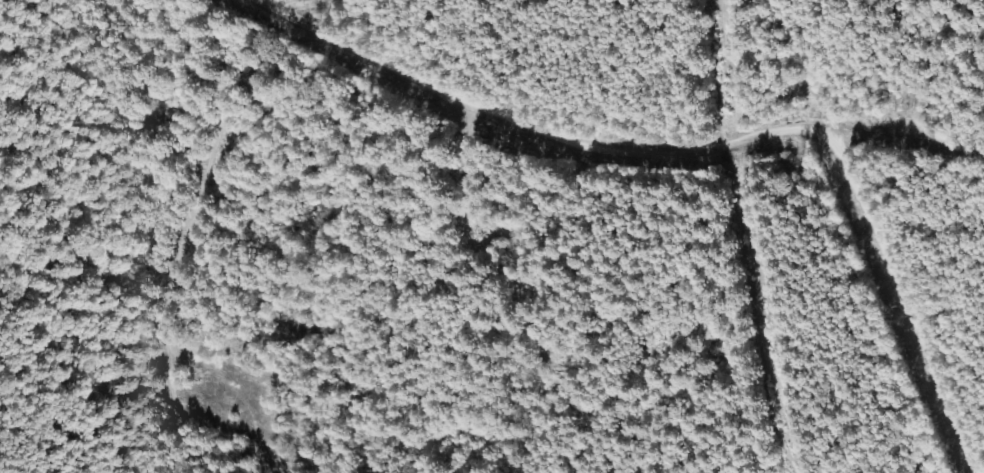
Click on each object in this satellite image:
road: (664, 112)
road: (165, 242)
road: (915, 313)

